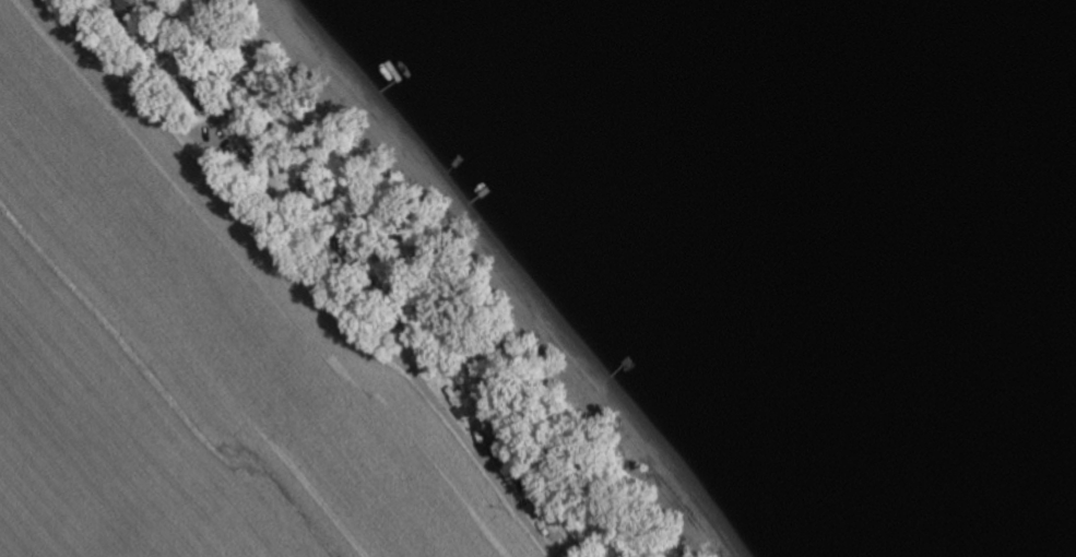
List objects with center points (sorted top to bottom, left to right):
river: (1049, 36)
road: (311, 281)

